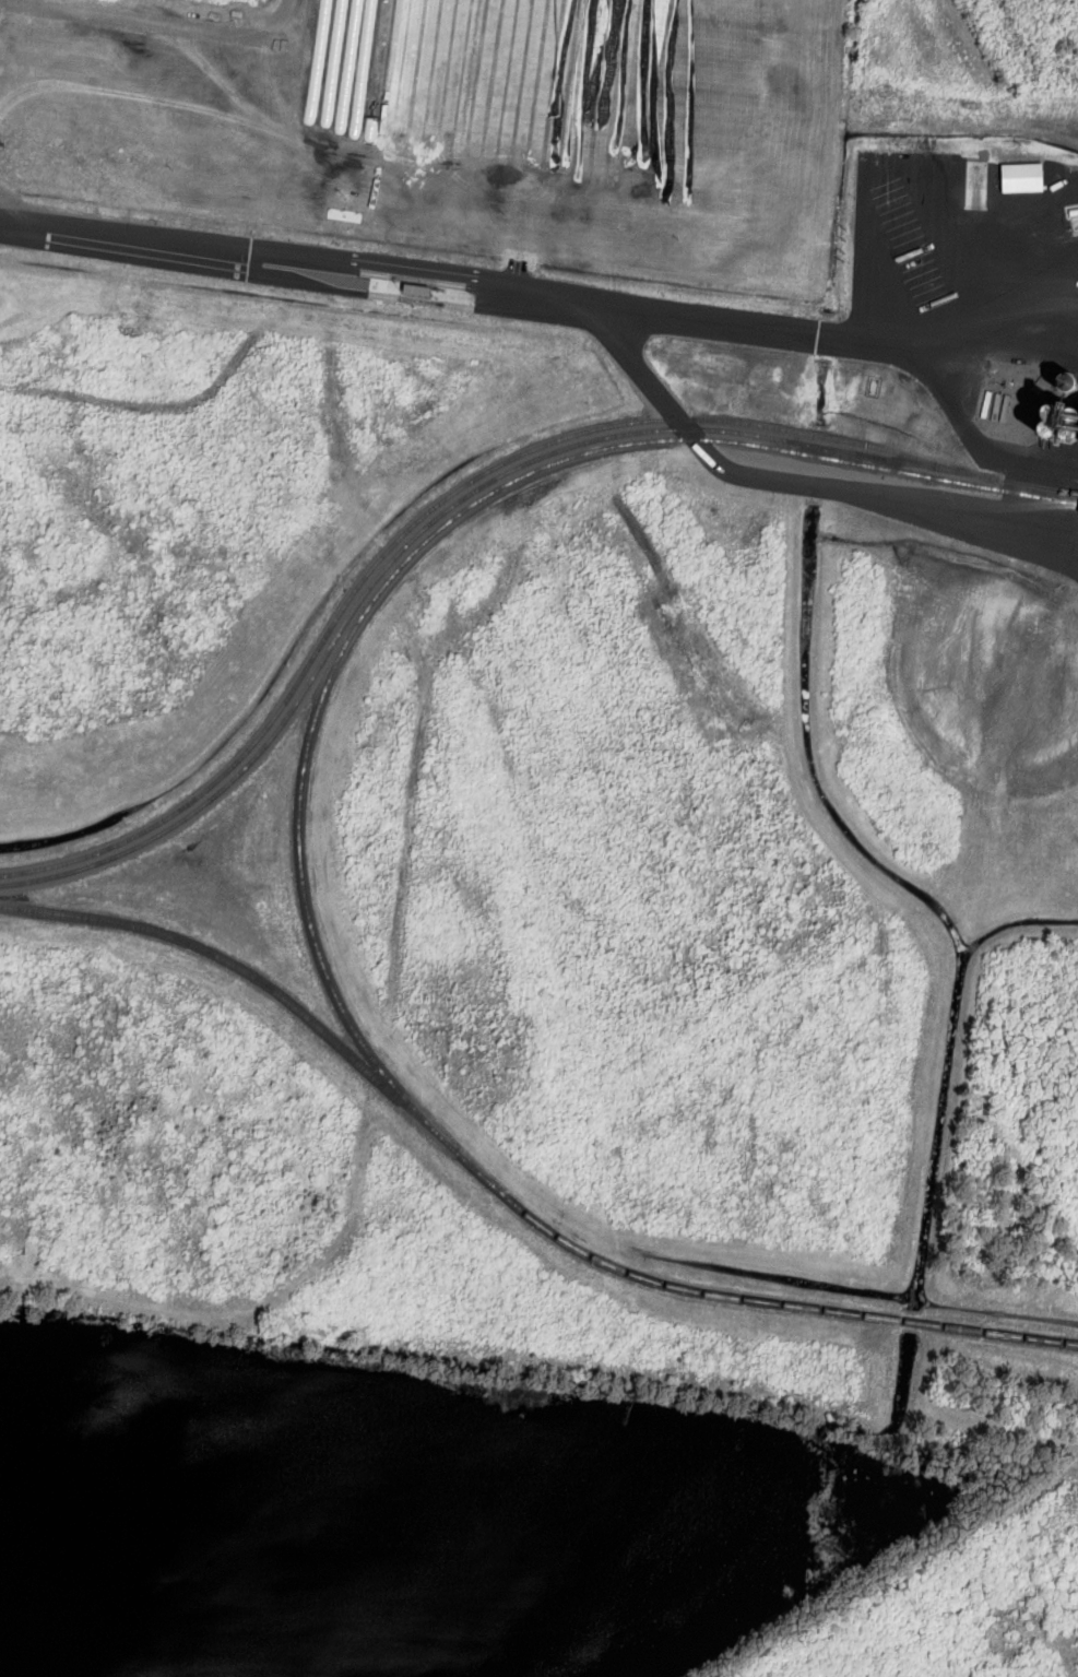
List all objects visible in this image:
road: (296, 251)
road: (596, 308)
road: (984, 439)
road: (1053, 534)

